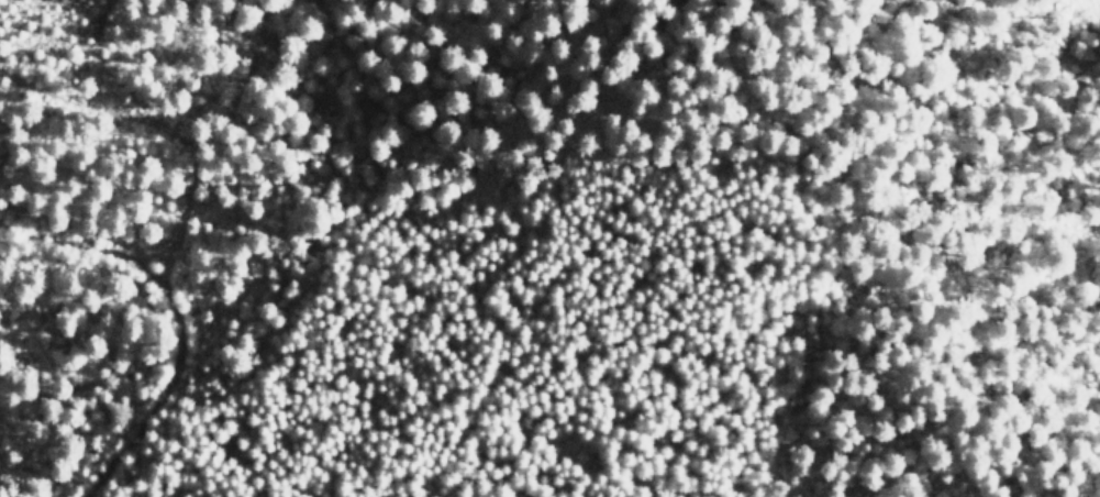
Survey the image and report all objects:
road: (116, 402)

